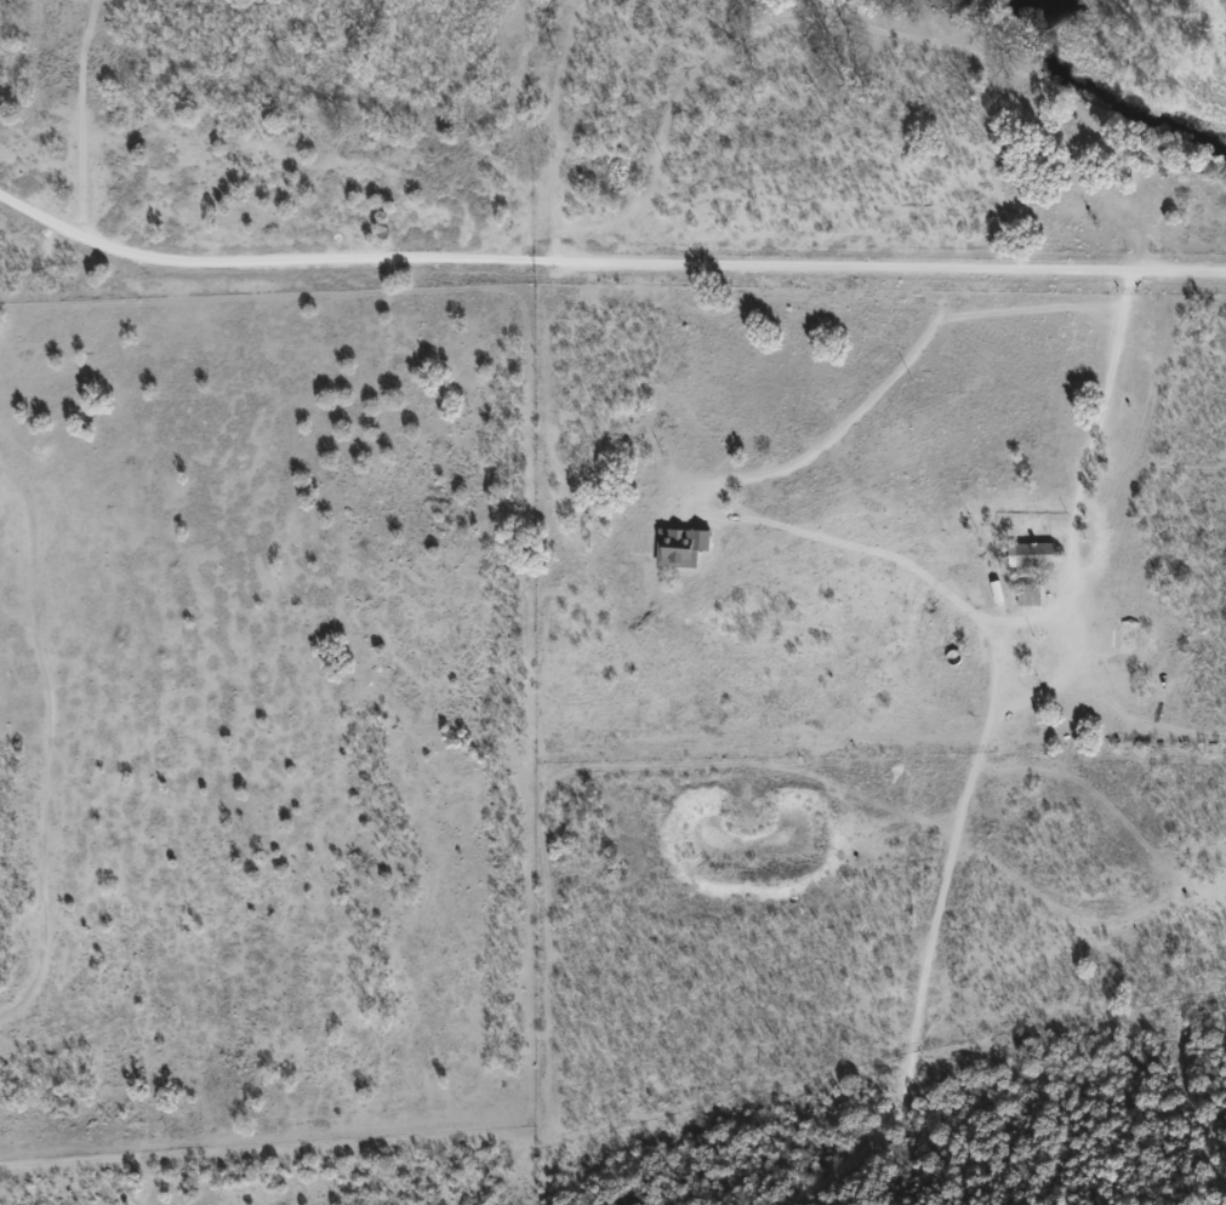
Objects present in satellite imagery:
river: (1044, 1)
river: (1104, 103)
road: (612, 258)
building: (680, 547)
building: (1034, 556)
building: (1030, 595)
building: (1123, 643)
road: (34, 657)

